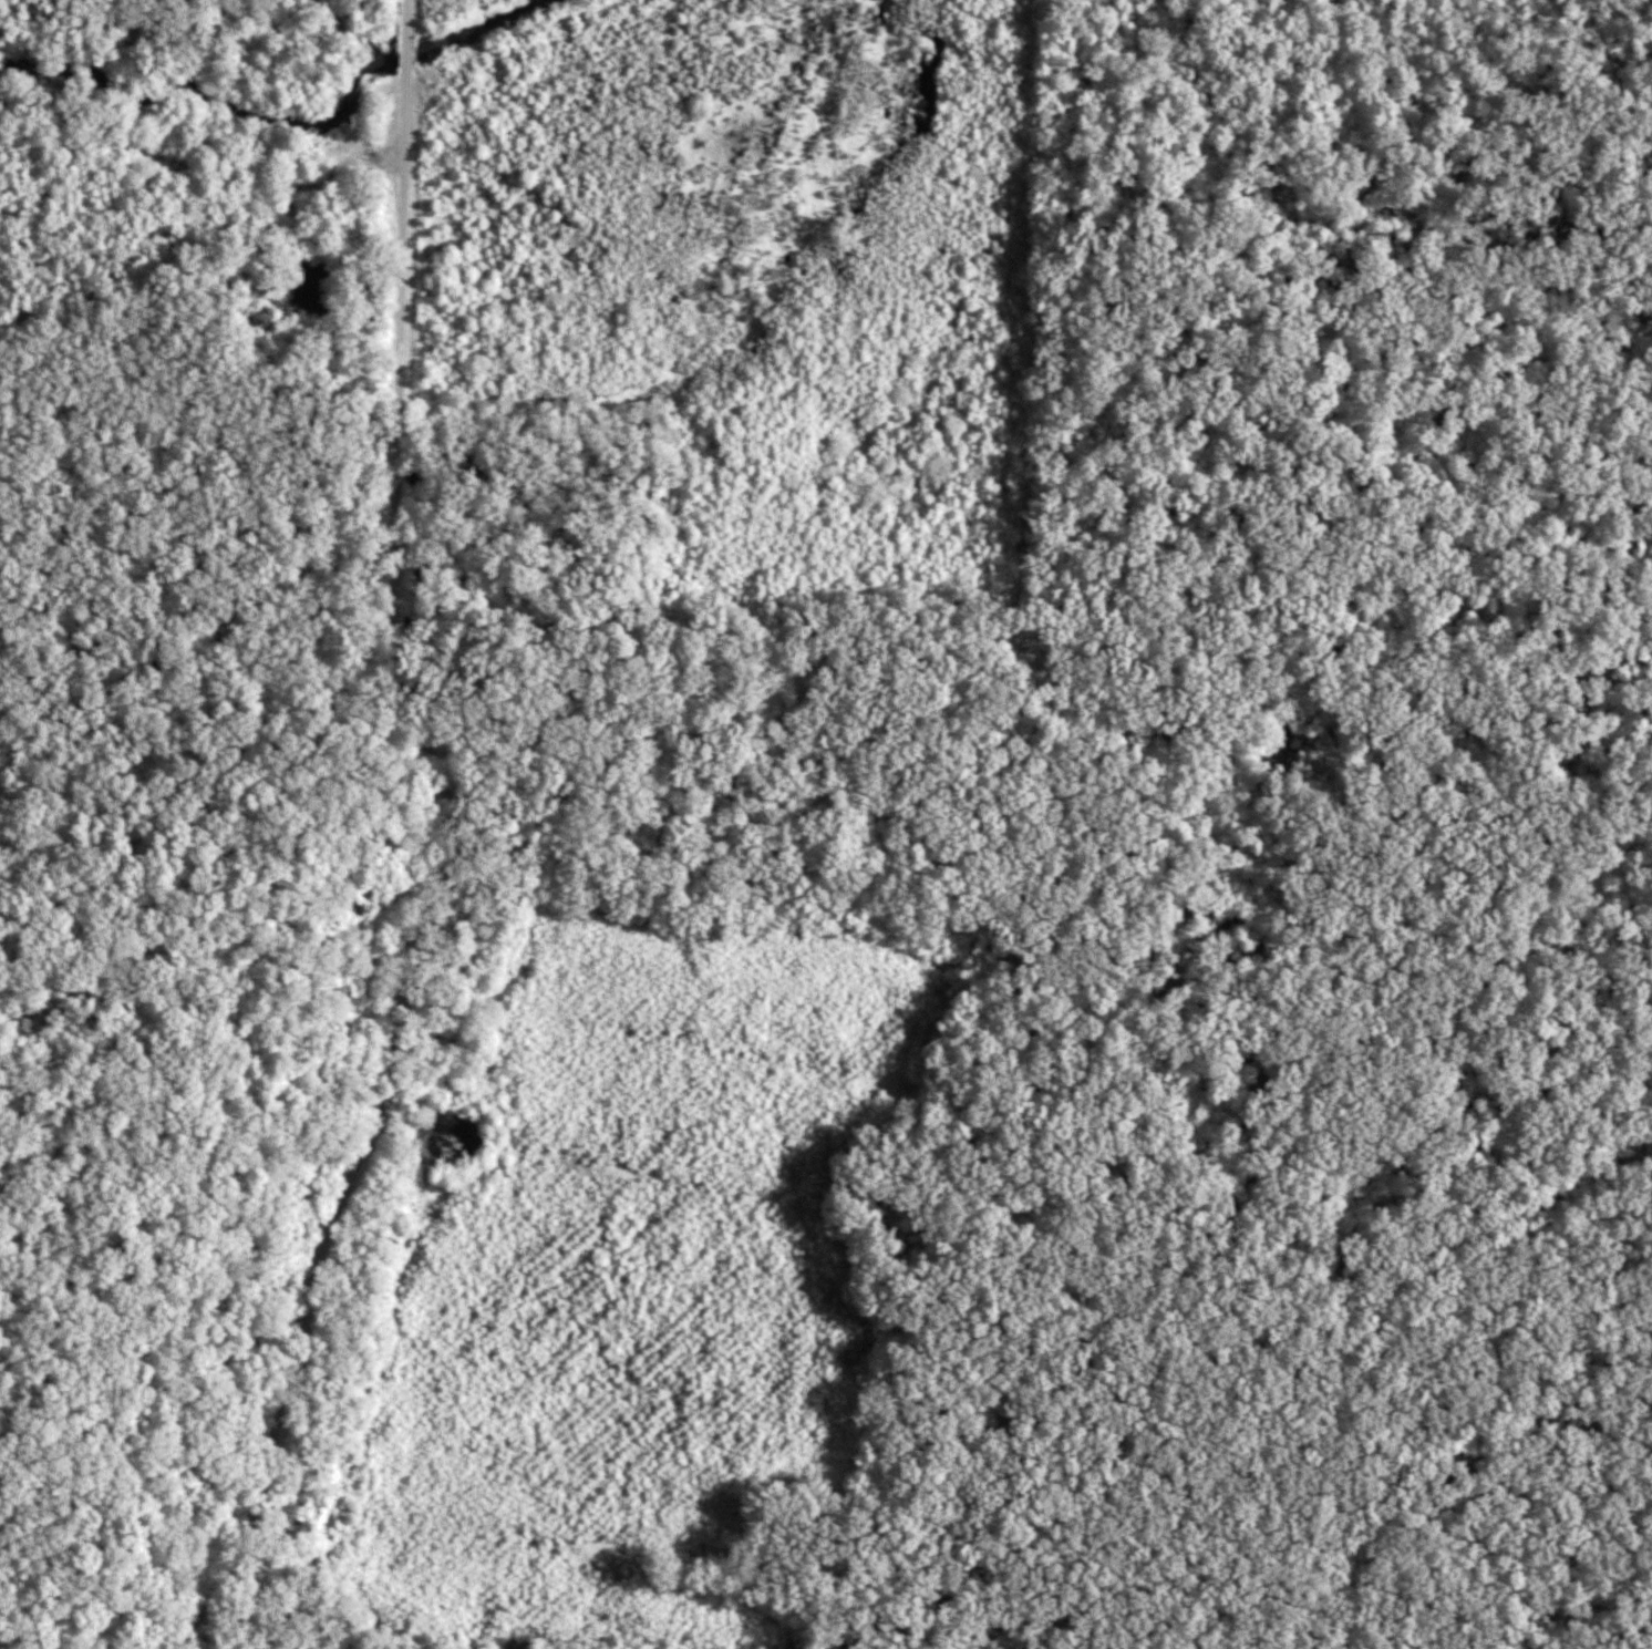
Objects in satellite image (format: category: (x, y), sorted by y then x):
road: (403, 848)

